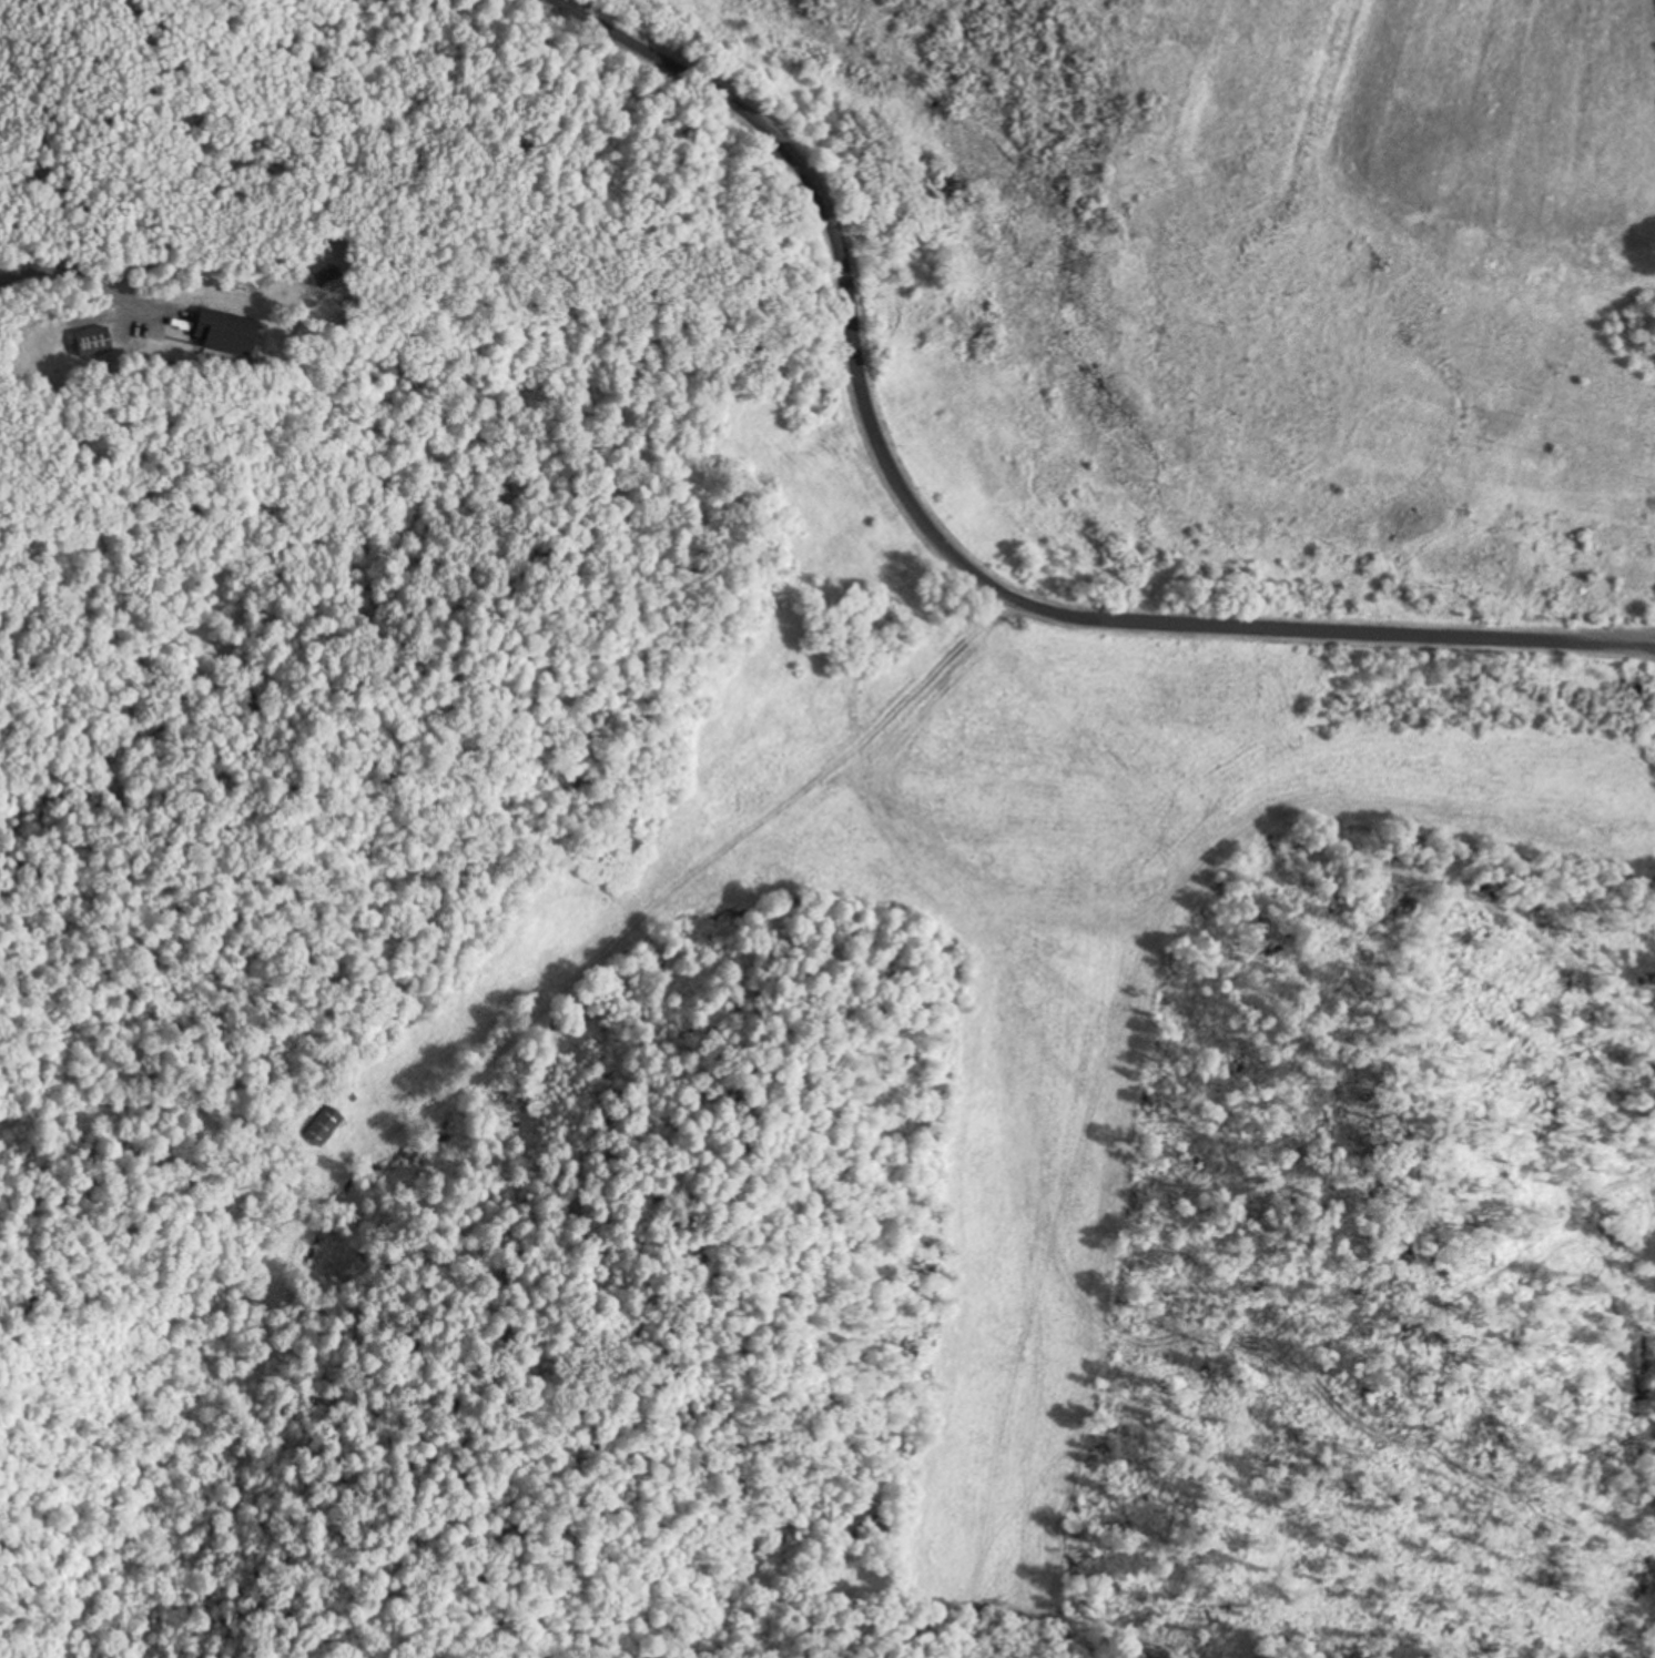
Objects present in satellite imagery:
crop: (606, 11)
crop: (1503, 138)
road: (87, 280)
building: (230, 332)
building: (95, 341)
road: (956, 552)
building: (323, 1123)

